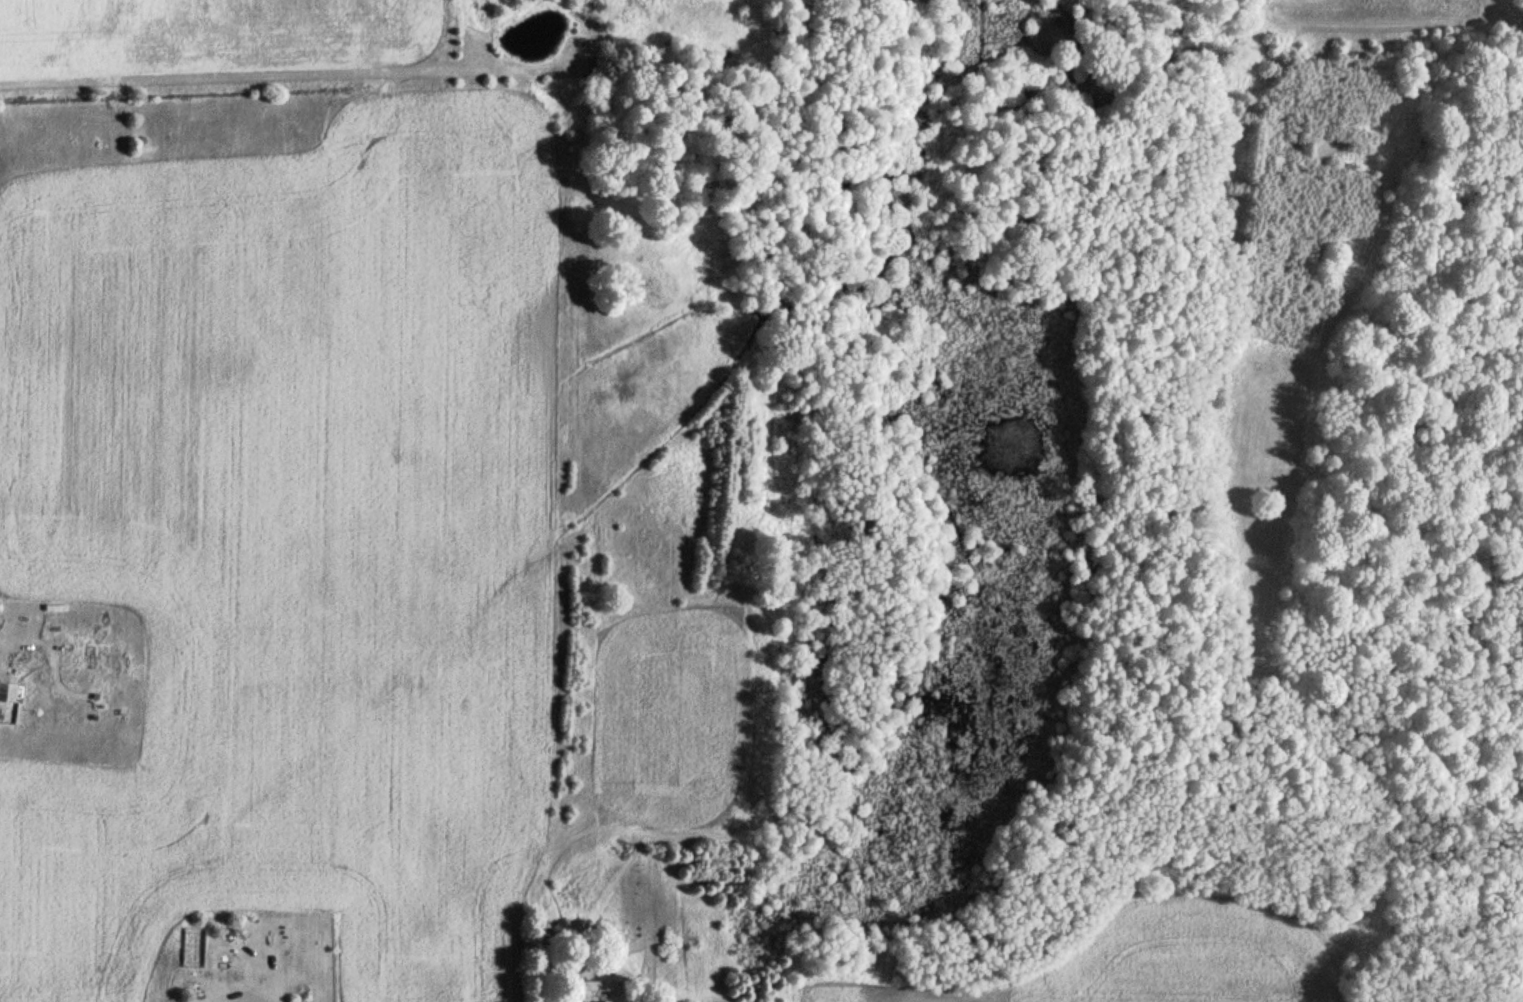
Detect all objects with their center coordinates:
building: (11, 691)
building: (598, 985)

